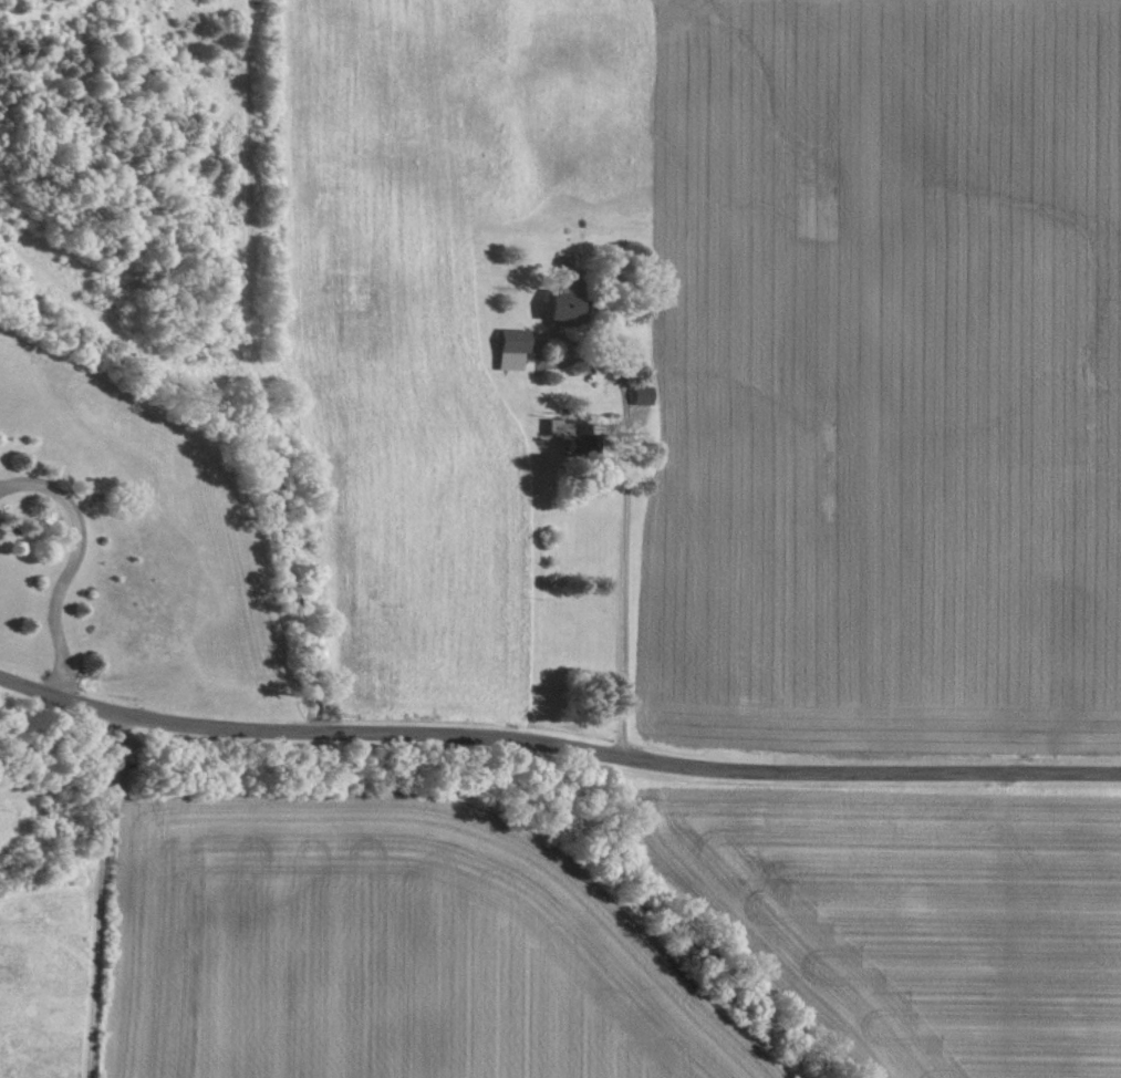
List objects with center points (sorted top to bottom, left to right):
building: (509, 349)
building: (640, 395)
road: (624, 541)
road: (69, 562)
road: (558, 745)
road: (100, 894)

